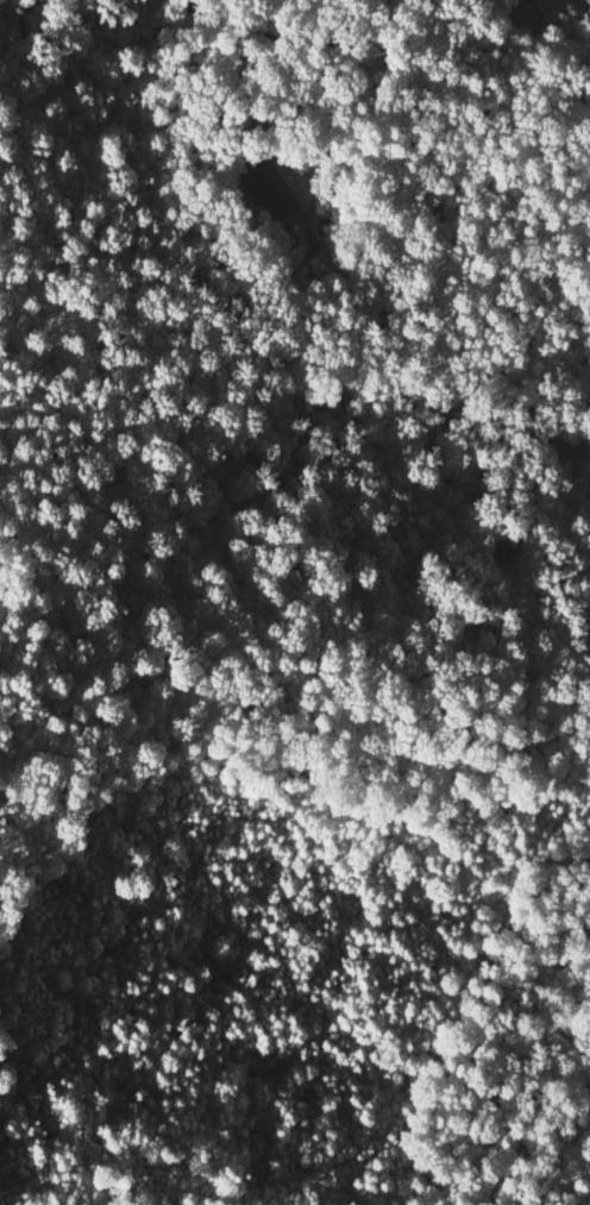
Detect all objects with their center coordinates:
building: (274, 187)

